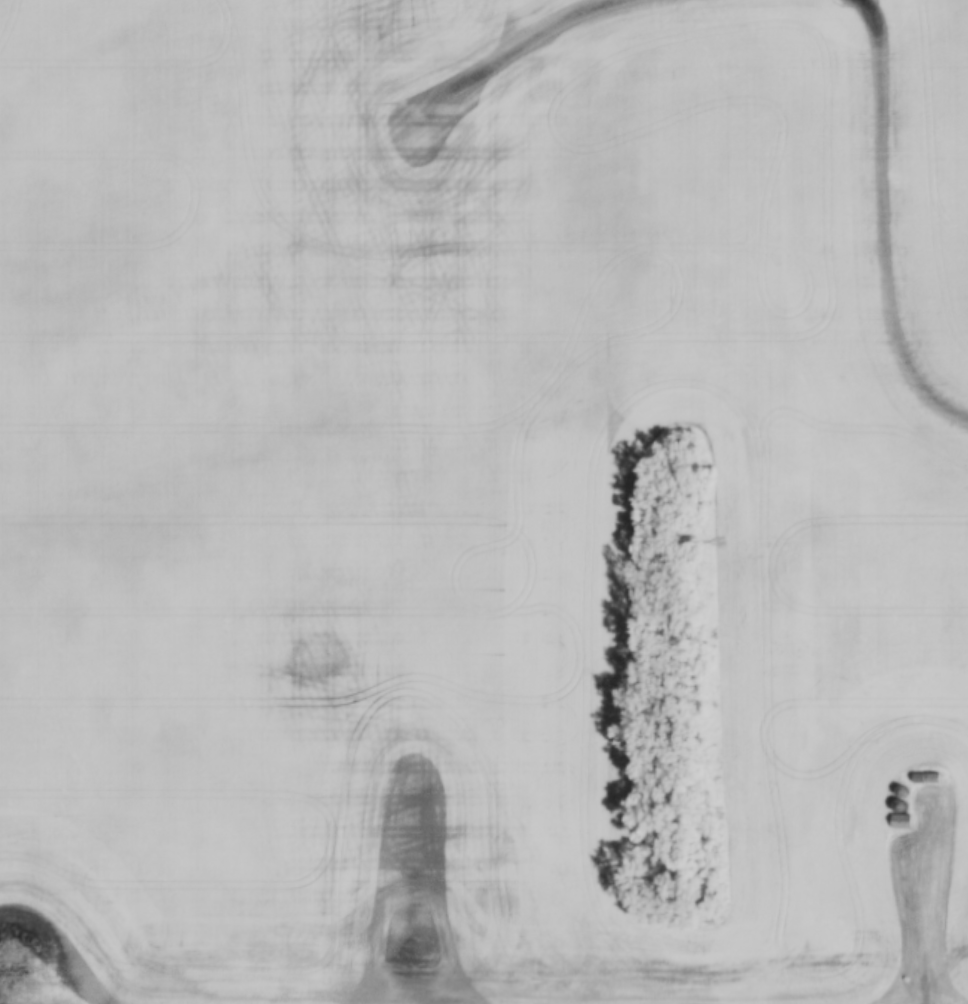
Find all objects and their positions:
road: (922, 755)
building: (927, 778)
building: (903, 792)
building: (901, 806)
building: (902, 822)
building: (825, 960)
road: (923, 983)

